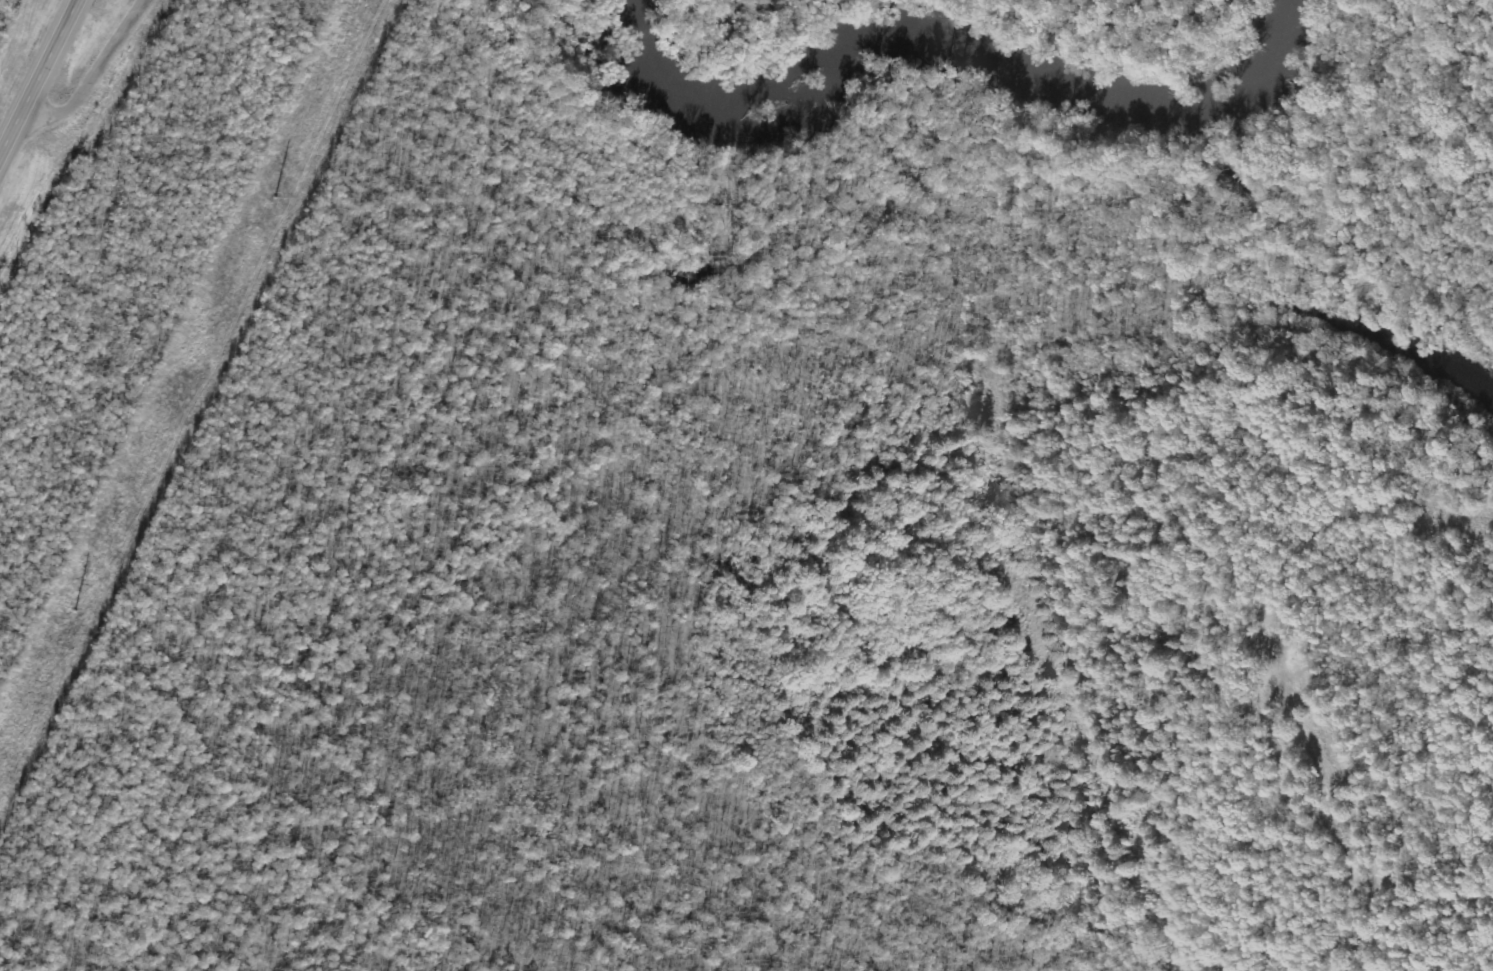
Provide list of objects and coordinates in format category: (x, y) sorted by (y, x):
river: (949, 42)
road: (34, 68)
power tower: (206, 335)
power tower: (48, 670)

